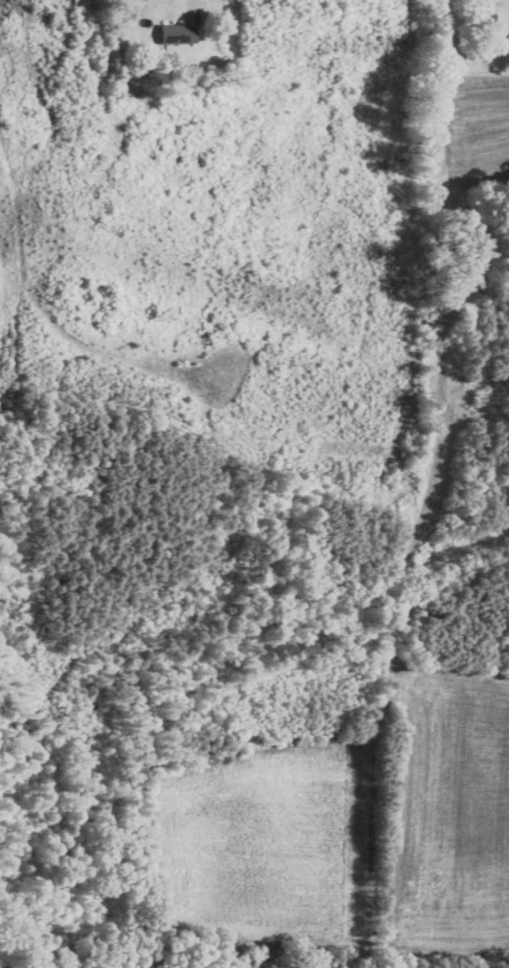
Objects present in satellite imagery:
building: (183, 27)

